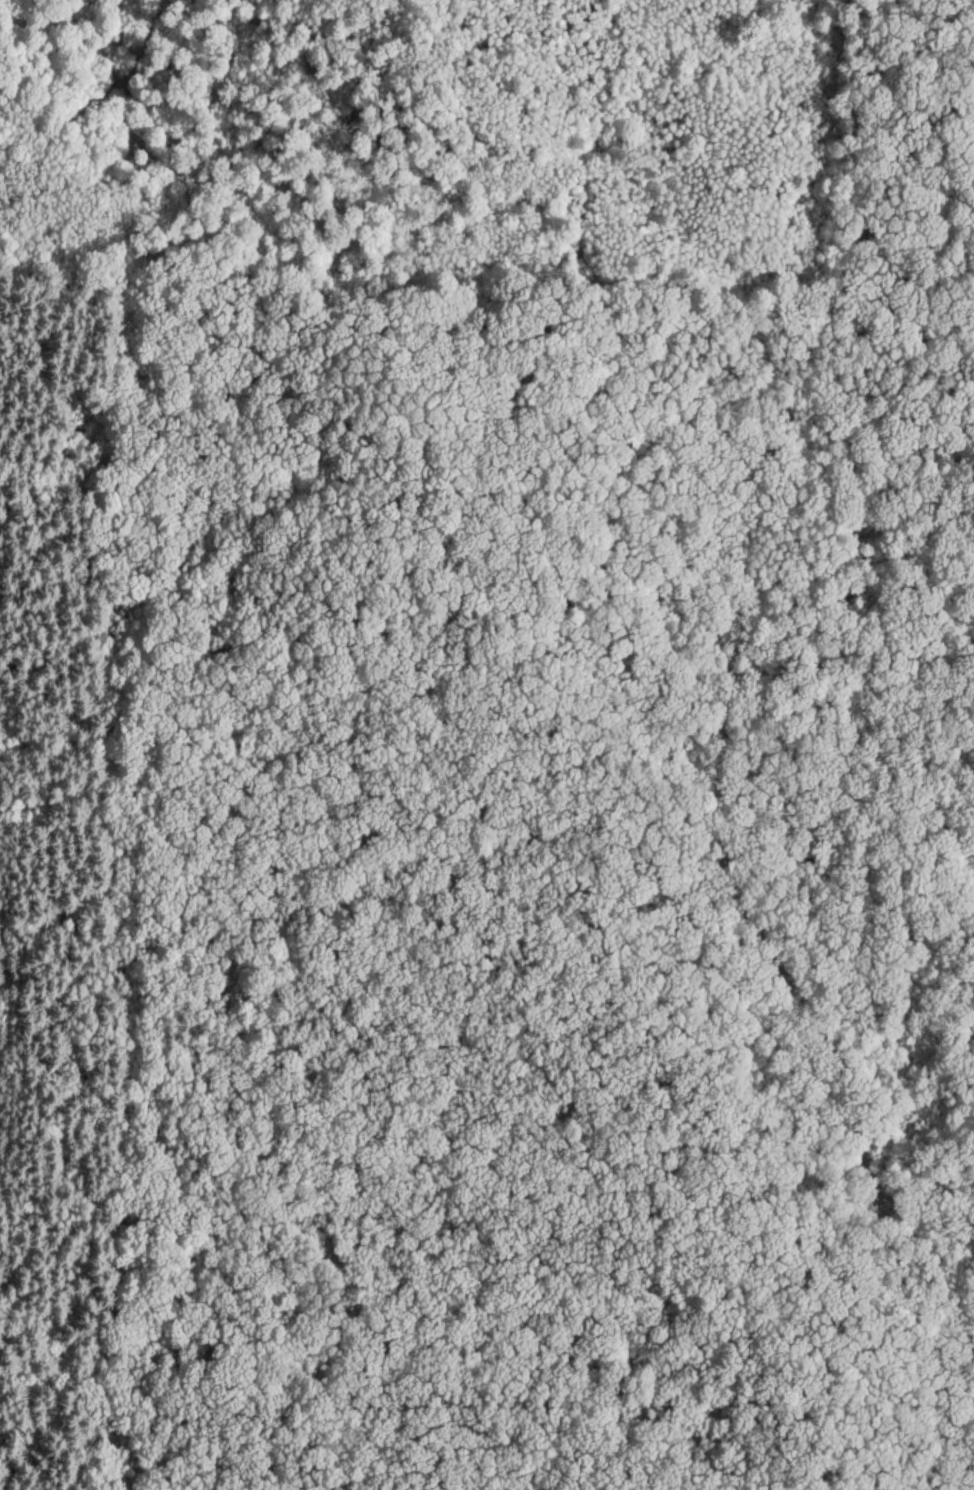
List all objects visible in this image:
road: (755, 548)
road: (120, 835)
road: (774, 847)
road: (185, 1193)
road: (897, 1257)

